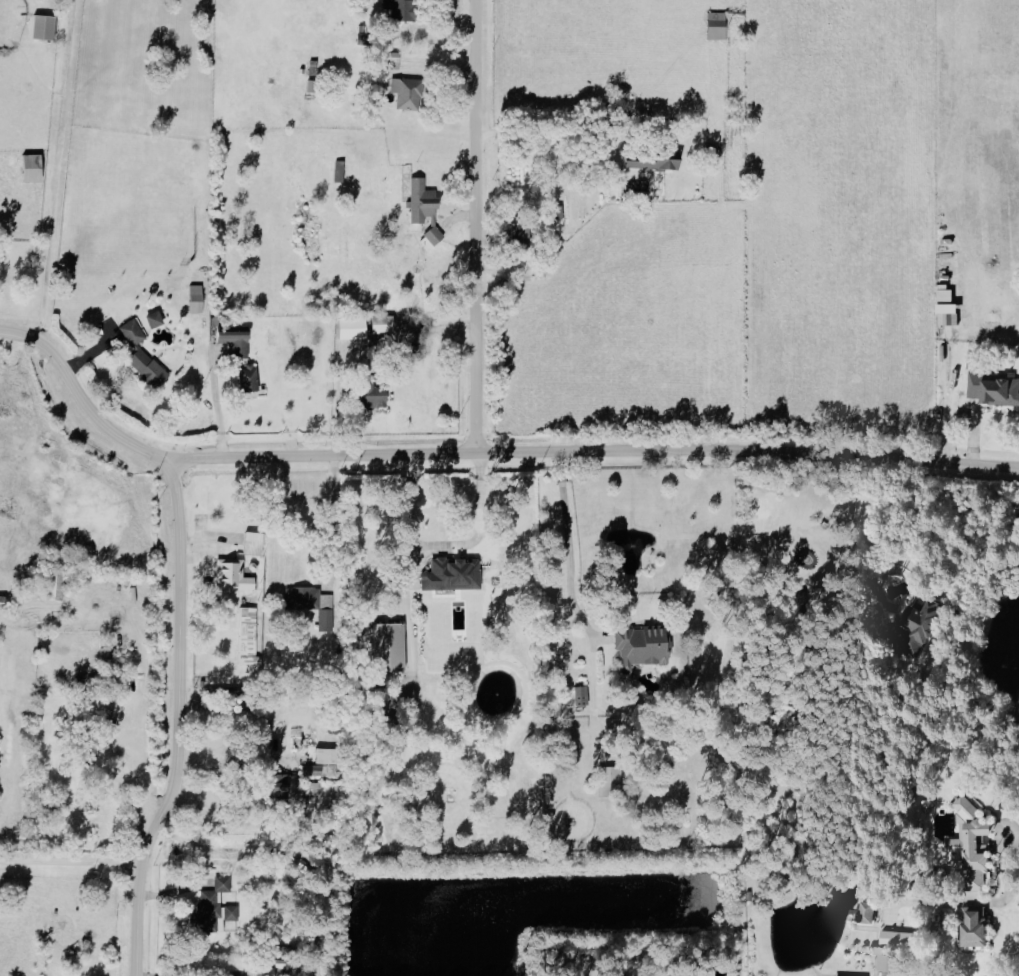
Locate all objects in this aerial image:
building: (398, 8)
building: (40, 26)
building: (714, 26)
building: (389, 59)
road: (1, 61)
building: (405, 93)
road: (544, 131)
building: (652, 160)
building: (28, 167)
building: (419, 200)
road: (477, 225)
building: (520, 229)
building: (429, 237)
building: (194, 298)
building: (945, 307)
building: (152, 319)
building: (372, 325)
building: (233, 341)
building: (140, 355)
building: (992, 389)
building: (370, 393)
road: (81, 398)
road: (217, 405)
road: (595, 450)
road: (334, 522)
road: (442, 542)
road: (570, 553)
building: (231, 574)
building: (449, 575)
building: (52, 583)
building: (305, 598)
building: (324, 619)
road: (404, 624)
building: (914, 625)
building: (245, 635)
building: (639, 647)
building: (387, 648)
road: (144, 695)
building: (579, 695)
road: (977, 704)
road: (179, 723)
building: (321, 756)
building: (311, 770)
building: (272, 786)
building: (313, 788)
building: (970, 845)
road: (70, 860)
building: (211, 909)
building: (864, 913)
building: (972, 927)
building: (890, 938)
building: (880, 960)

